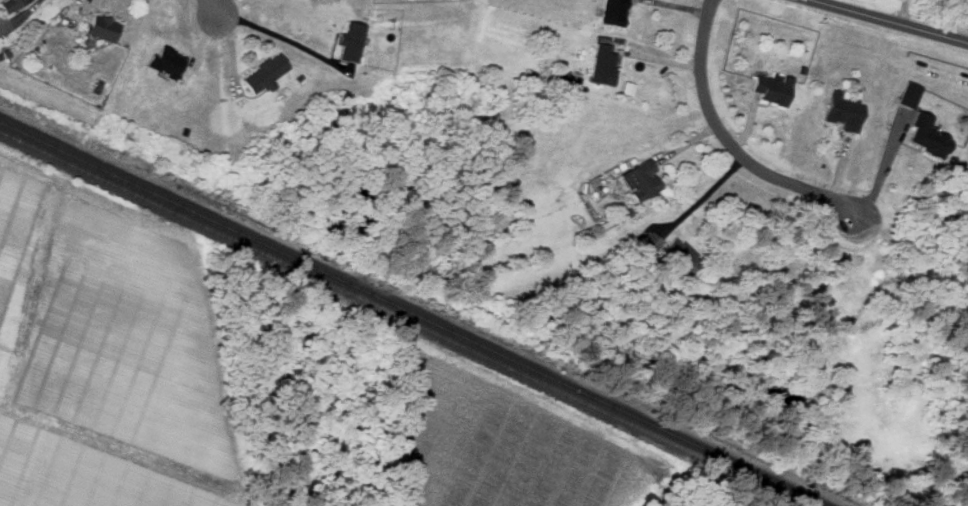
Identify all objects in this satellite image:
building: (11, 5)
road: (211, 5)
road: (230, 5)
road: (29, 9)
building: (611, 12)
road: (885, 21)
building: (100, 28)
road: (272, 34)
building: (349, 42)
building: (165, 61)
building: (602, 65)
building: (263, 74)
building: (770, 90)
building: (908, 95)
building: (842, 111)
building: (924, 137)
road: (726, 143)
road: (881, 173)
building: (639, 181)
road: (703, 195)
building: (648, 245)
railway: (412, 314)
railway: (399, 320)

